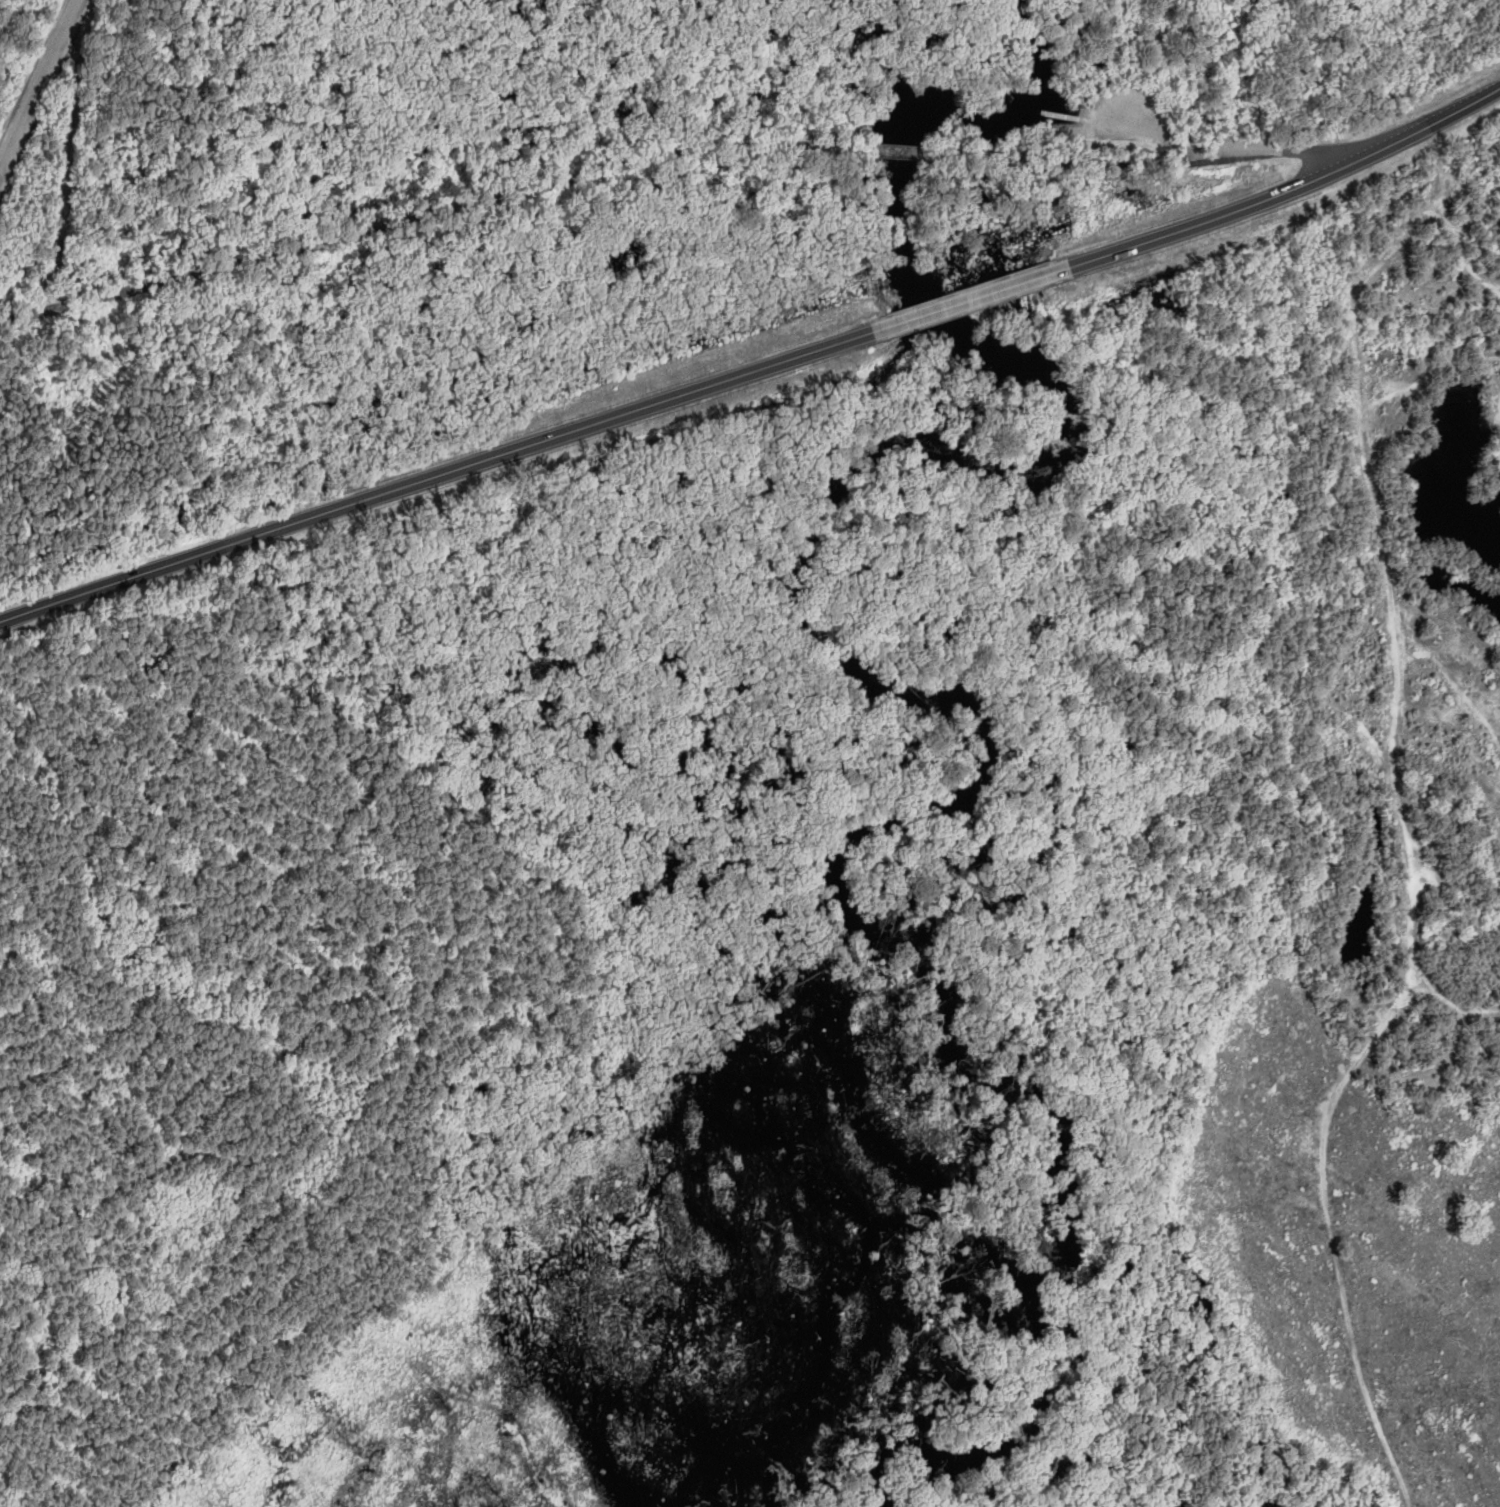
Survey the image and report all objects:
road: (77, 1)
river: (1031, 37)
road: (38, 87)
parking lot: (1134, 113)
road: (1065, 116)
road: (1091, 117)
road: (1146, 128)
road: (70, 141)
road: (878, 149)
road: (1284, 150)
road: (971, 156)
road: (1132, 165)
road: (1289, 188)
road: (427, 212)
road: (25, 269)
park: (329, 276)
road: (52, 295)
road: (971, 299)
road: (436, 475)
river: (943, 691)

